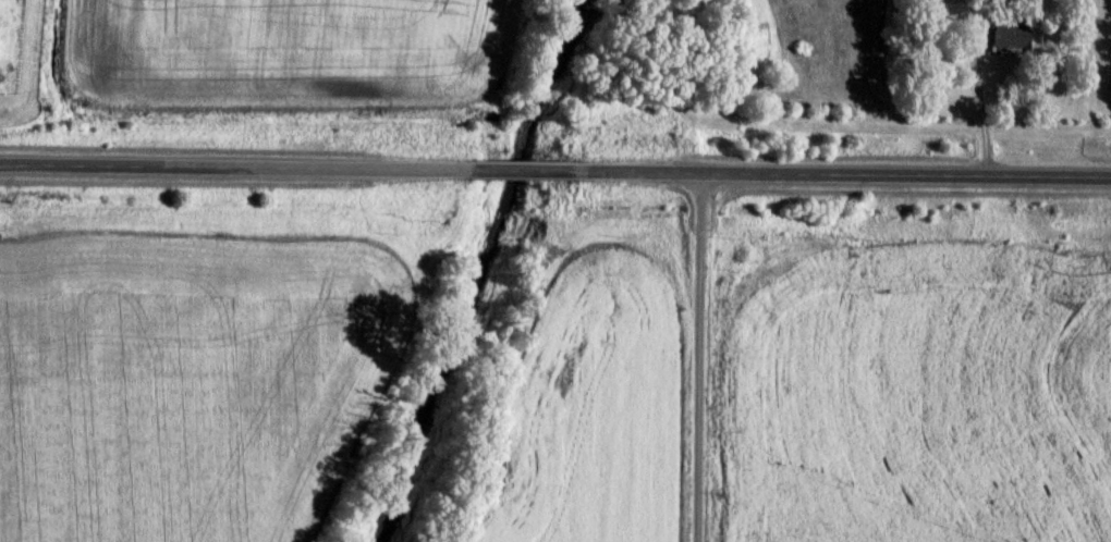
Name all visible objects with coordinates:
building: (1011, 34)
road: (231, 167)
road: (515, 170)
road: (840, 175)
road: (698, 357)

